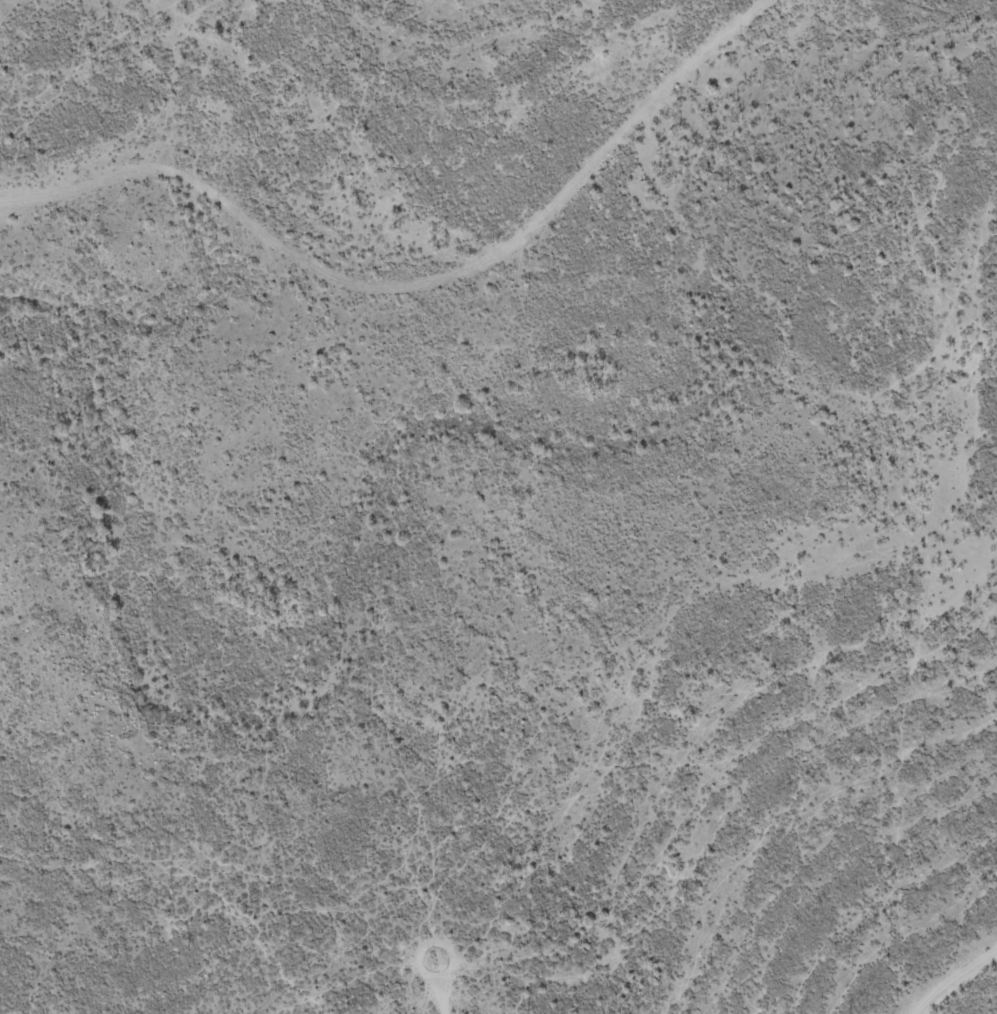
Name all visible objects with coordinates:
road: (952, 977)

